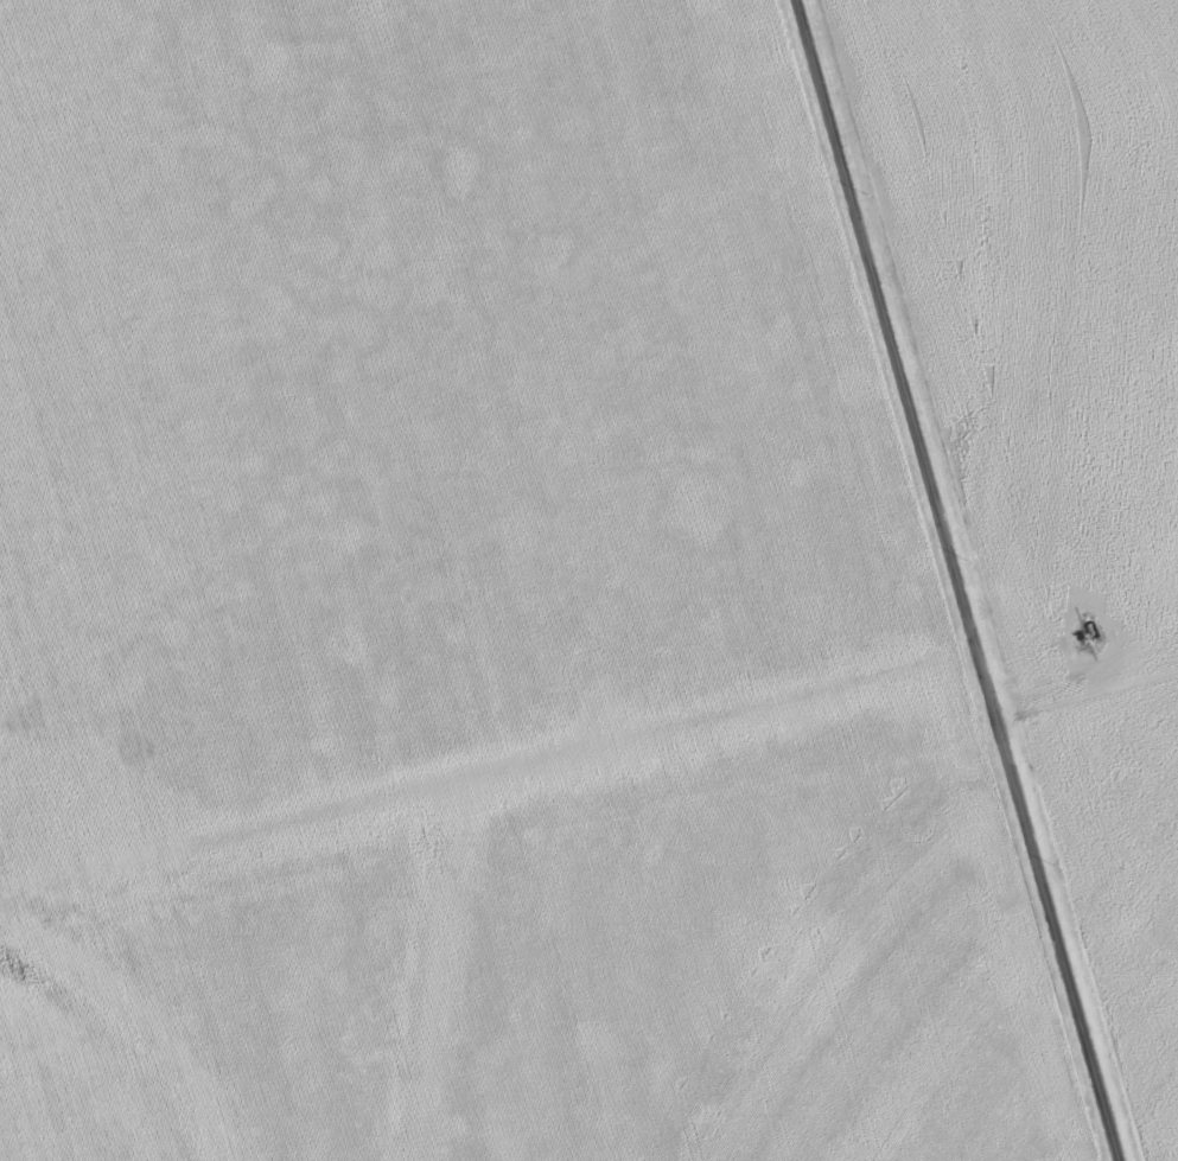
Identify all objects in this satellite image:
road: (959, 580)

